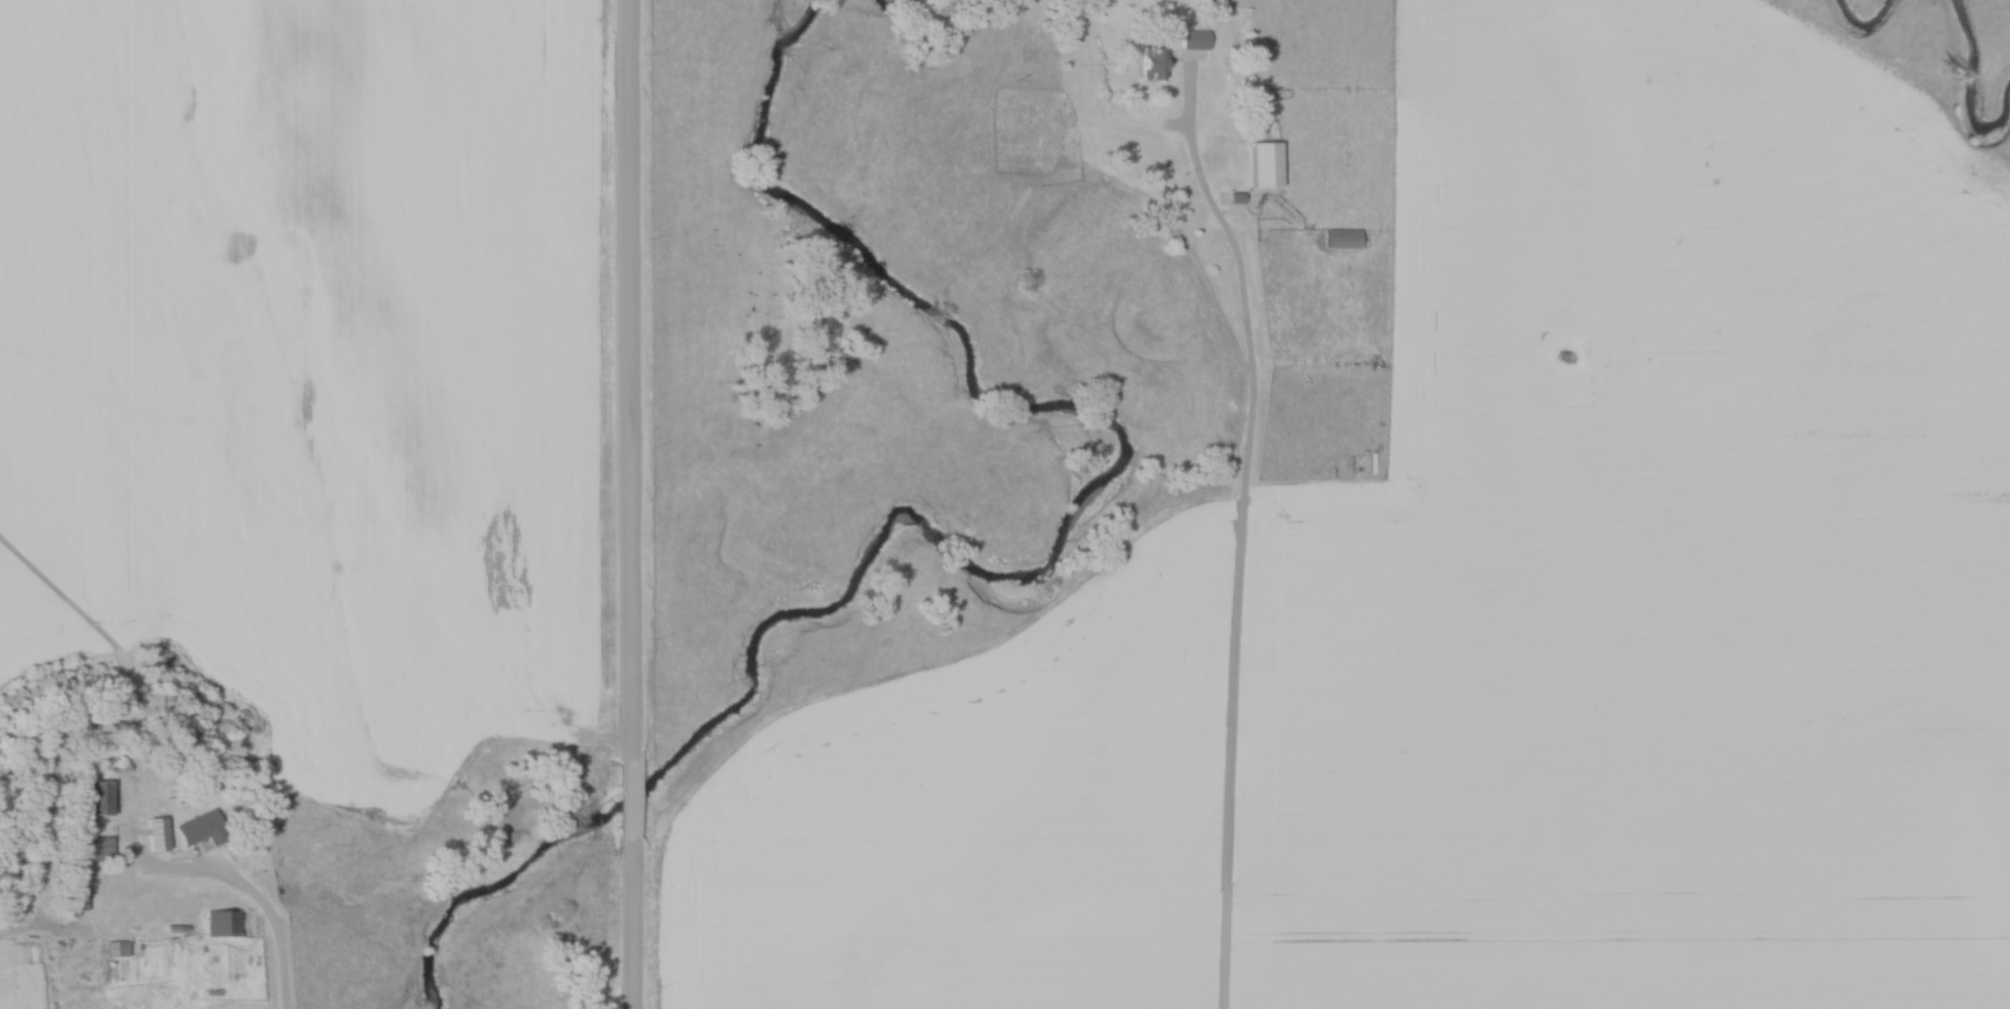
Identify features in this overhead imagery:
river: (904, 10)
river: (1861, 22)
building: (1192, 39)
building: (1149, 61)
river: (1961, 85)
building: (1272, 169)
building: (1348, 244)
road: (631, 383)
road: (1246, 543)
river: (1011, 570)
building: (104, 801)
road: (631, 803)
building: (203, 829)
building: (160, 836)
building: (76, 899)
road: (258, 899)
building: (221, 923)
road: (632, 923)
building: (117, 949)

